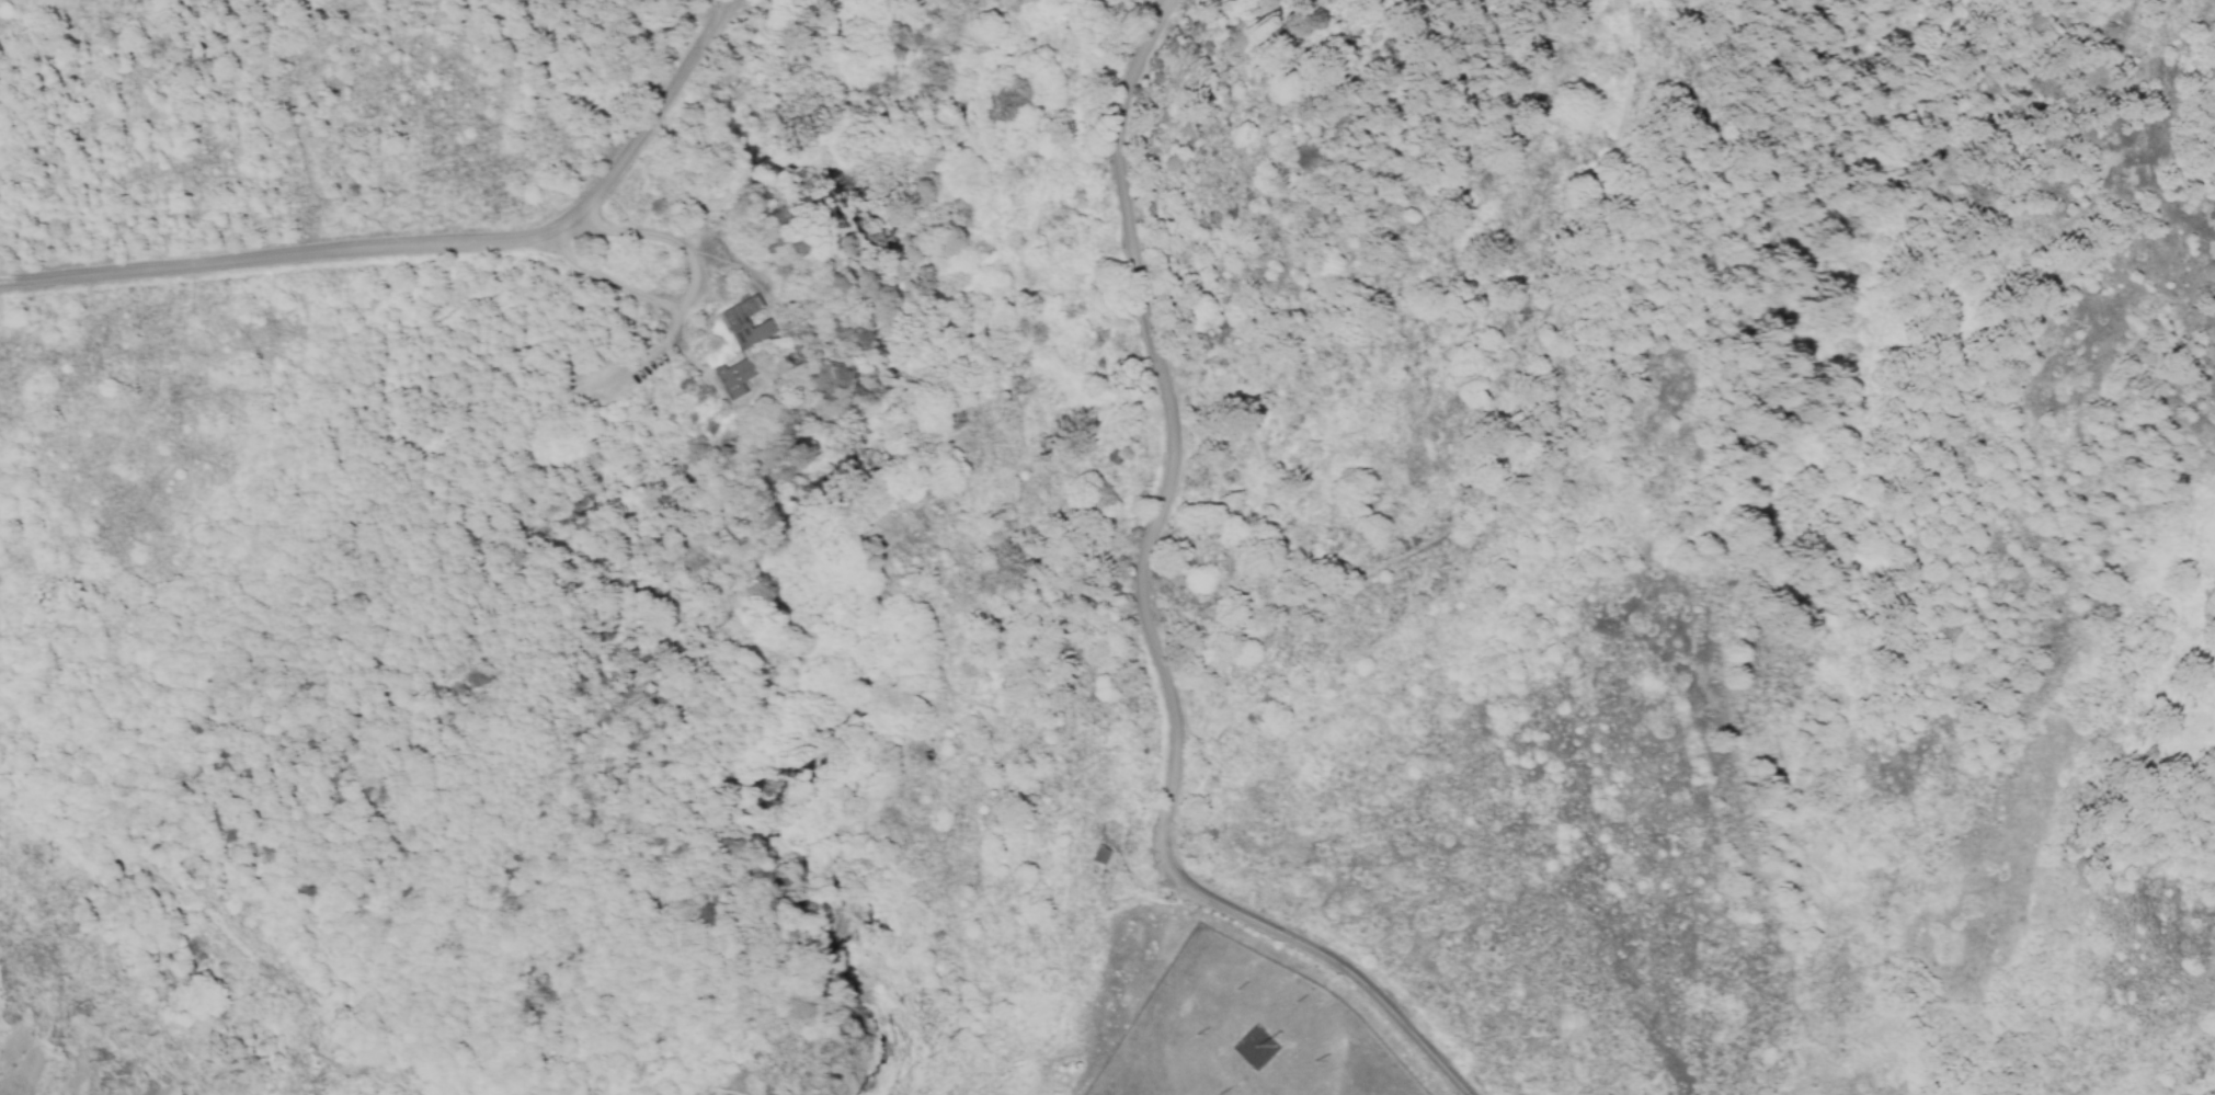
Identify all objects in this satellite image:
road: (424, 247)
road: (1037, 286)
road: (692, 300)
road: (711, 319)
building: (745, 328)
road: (646, 360)
parking lot: (623, 368)
building: (733, 379)
road: (1175, 440)
road: (1480, 504)
road: (1087, 637)
road: (817, 693)
building: (1100, 856)
road: (1339, 968)

